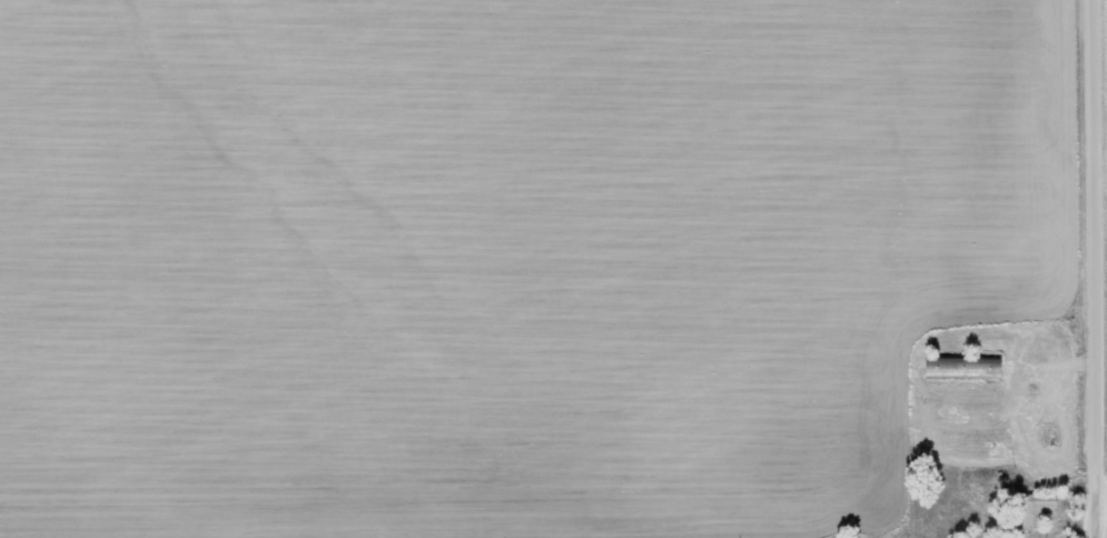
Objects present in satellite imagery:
road: (1095, 268)
road: (1101, 333)

